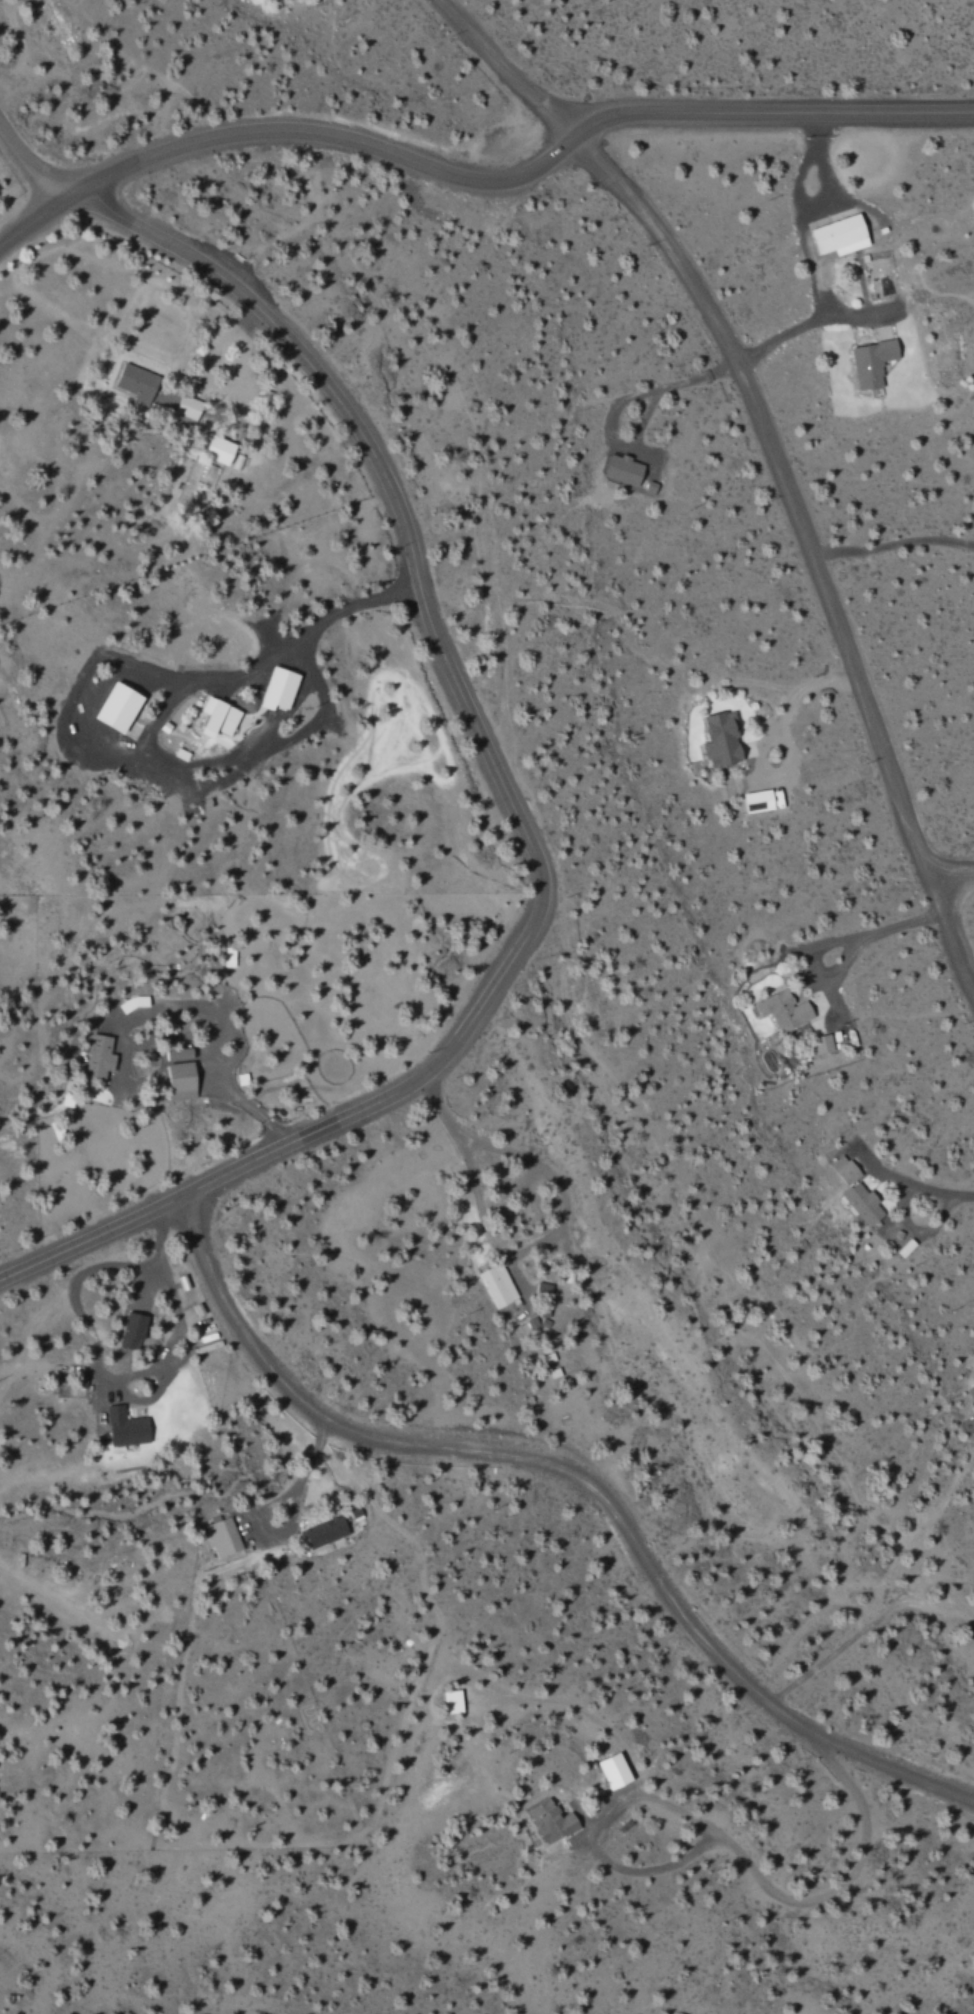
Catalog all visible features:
road: (771, 114)
road: (284, 131)
building: (840, 235)
building: (872, 362)
building: (137, 383)
road: (748, 399)
building: (218, 450)
road: (361, 451)
building: (623, 471)
building: (207, 475)
building: (651, 488)
building: (278, 689)
building: (117, 707)
building: (218, 718)
building: (720, 740)
building: (758, 801)
road: (953, 879)
road: (951, 937)
building: (229, 957)
building: (784, 1010)
building: (822, 1044)
building: (178, 1054)
building: (99, 1058)
building: (181, 1082)
road: (301, 1135)
building: (856, 1191)
building: (498, 1285)
building: (132, 1331)
building: (972, 1378)
building: (971, 1393)
building: (126, 1427)
road: (571, 1469)
building: (325, 1532)
building: (223, 1537)
building: (452, 1702)
building: (614, 1771)
building: (551, 1821)

